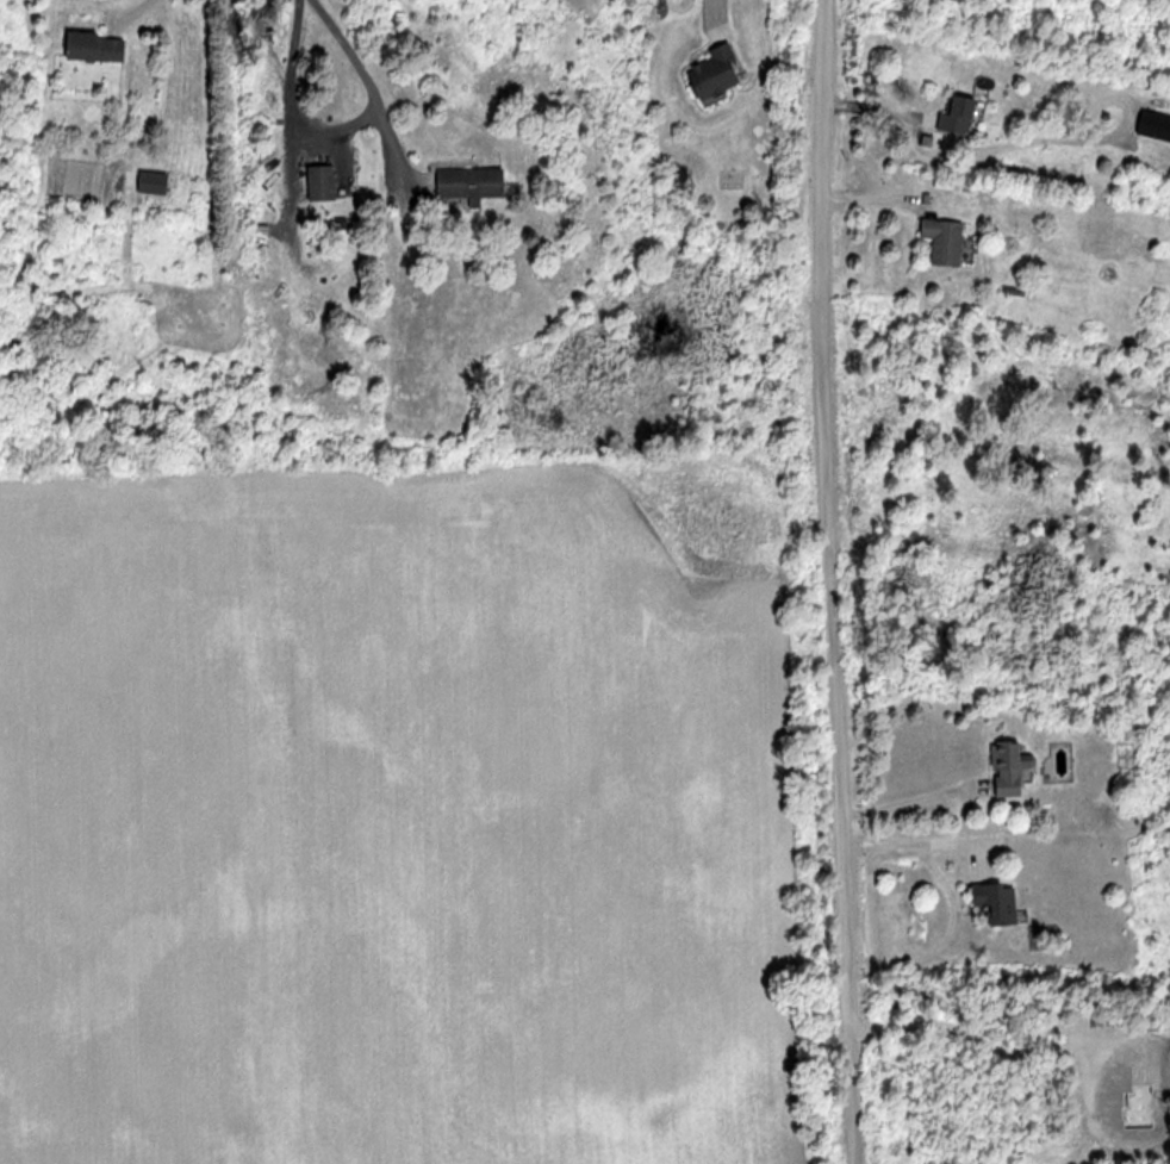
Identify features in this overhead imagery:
road: (135, 7)
road: (714, 7)
building: (86, 46)
road: (292, 62)
road: (354, 67)
building: (707, 71)
building: (951, 114)
building: (1151, 124)
building: (316, 182)
building: (461, 183)
building: (938, 241)
road: (832, 581)
building: (1004, 766)
road: (907, 805)
road: (921, 846)
building: (995, 901)

